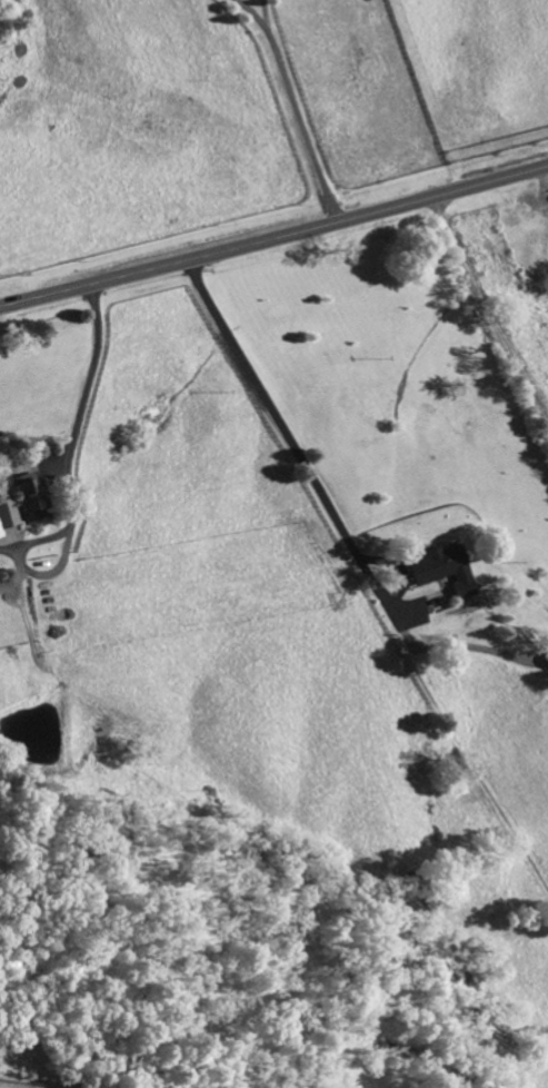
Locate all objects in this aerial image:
road: (293, 103)
road: (273, 233)
road: (486, 314)
road: (87, 379)
road: (301, 463)
building: (18, 505)
building: (441, 571)
building: (547, 641)

